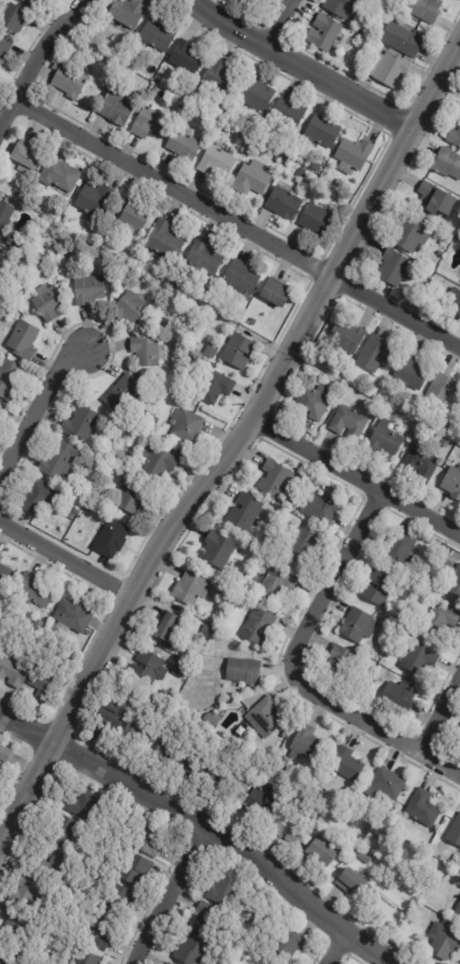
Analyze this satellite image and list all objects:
building: (33, 0)
building: (242, 2)
building: (340, 7)
building: (426, 9)
building: (128, 12)
building: (13, 18)
road: (279, 25)
building: (323, 32)
building: (157, 36)
building: (358, 36)
building: (402, 39)
building: (125, 44)
building: (4, 48)
building: (365, 51)
road: (38, 56)
building: (186, 57)
building: (347, 62)
road: (304, 68)
building: (389, 69)
building: (218, 78)
building: (69, 81)
building: (256, 94)
building: (115, 109)
building: (288, 114)
building: (150, 123)
building: (323, 133)
building: (452, 136)
building: (183, 146)
building: (353, 156)
building: (25, 157)
building: (217, 162)
building: (447, 163)
building: (316, 166)
building: (301, 172)
building: (59, 175)
building: (252, 179)
building: (19, 195)
building: (94, 200)
building: (434, 202)
building: (283, 203)
building: (131, 215)
building: (5, 216)
building: (66, 219)
building: (316, 220)
road: (232, 223)
building: (410, 237)
building: (165, 241)
building: (17, 244)
building: (440, 255)
building: (205, 257)
building: (35, 260)
building: (393, 268)
building: (241, 280)
building: (180, 285)
building: (88, 291)
building: (276, 293)
building: (214, 299)
building: (453, 302)
building: (48, 303)
building: (130, 308)
building: (459, 319)
building: (221, 321)
building: (252, 322)
building: (346, 336)
building: (23, 341)
building: (198, 343)
building: (210, 351)
building: (238, 351)
building: (146, 352)
building: (373, 352)
building: (410, 373)
building: (8, 379)
building: (336, 383)
building: (214, 388)
building: (443, 389)
building: (121, 395)
building: (313, 401)
building: (0, 405)
road: (41, 417)
building: (459, 419)
building: (459, 421)
building: (153, 422)
building: (349, 422)
building: (80, 424)
building: (186, 428)
building: (384, 439)
building: (445, 443)
road: (234, 449)
building: (59, 461)
building: (420, 461)
building: (158, 464)
building: (299, 467)
road: (356, 477)
building: (276, 479)
building: (452, 482)
building: (81, 493)
building: (38, 499)
building: (132, 499)
building: (287, 504)
building: (87, 509)
building: (319, 509)
building: (76, 512)
building: (246, 512)
building: (74, 530)
building: (110, 540)
building: (67, 541)
building: (302, 544)
building: (399, 547)
building: (217, 548)
building: (445, 552)
building: (0, 558)
road: (65, 569)
building: (239, 575)
building: (5, 577)
building: (454, 580)
building: (277, 583)
building: (378, 586)
building: (191, 588)
building: (32, 592)
building: (429, 594)
building: (233, 605)
building: (72, 616)
building: (439, 618)
building: (258, 625)
building: (358, 625)
building: (167, 626)
building: (37, 627)
building: (206, 629)
building: (87, 633)
building: (419, 658)
building: (339, 660)
building: (147, 668)
building: (180, 669)
road: (291, 669)
building: (243, 671)
building: (12, 674)
building: (364, 680)
building: (41, 688)
building: (149, 692)
building: (367, 692)
building: (163, 695)
building: (398, 696)
building: (111, 714)
road: (439, 714)
building: (266, 717)
building: (212, 718)
building: (241, 729)
building: (138, 730)
building: (284, 734)
building: (307, 745)
building: (283, 750)
building: (167, 753)
building: (5, 754)
building: (346, 764)
building: (198, 770)
building: (231, 784)
building: (386, 784)
building: (363, 785)
building: (264, 800)
building: (83, 805)
building: (423, 808)
building: (379, 818)
road: (206, 826)
building: (287, 830)
building: (62, 832)
building: (455, 833)
building: (149, 840)
building: (323, 850)
building: (367, 858)
building: (52, 868)
building: (136, 869)
building: (351, 882)
building: (27, 887)
building: (224, 891)
road: (170, 895)
building: (118, 899)
building: (458, 909)
building: (445, 913)
building: (207, 920)
building: (14, 921)
building: (447, 922)
building: (96, 933)
building: (288, 941)
building: (443, 941)
road: (336, 948)
building: (190, 950)
building: (5, 956)
building: (87, 958)
building: (166, 963)

